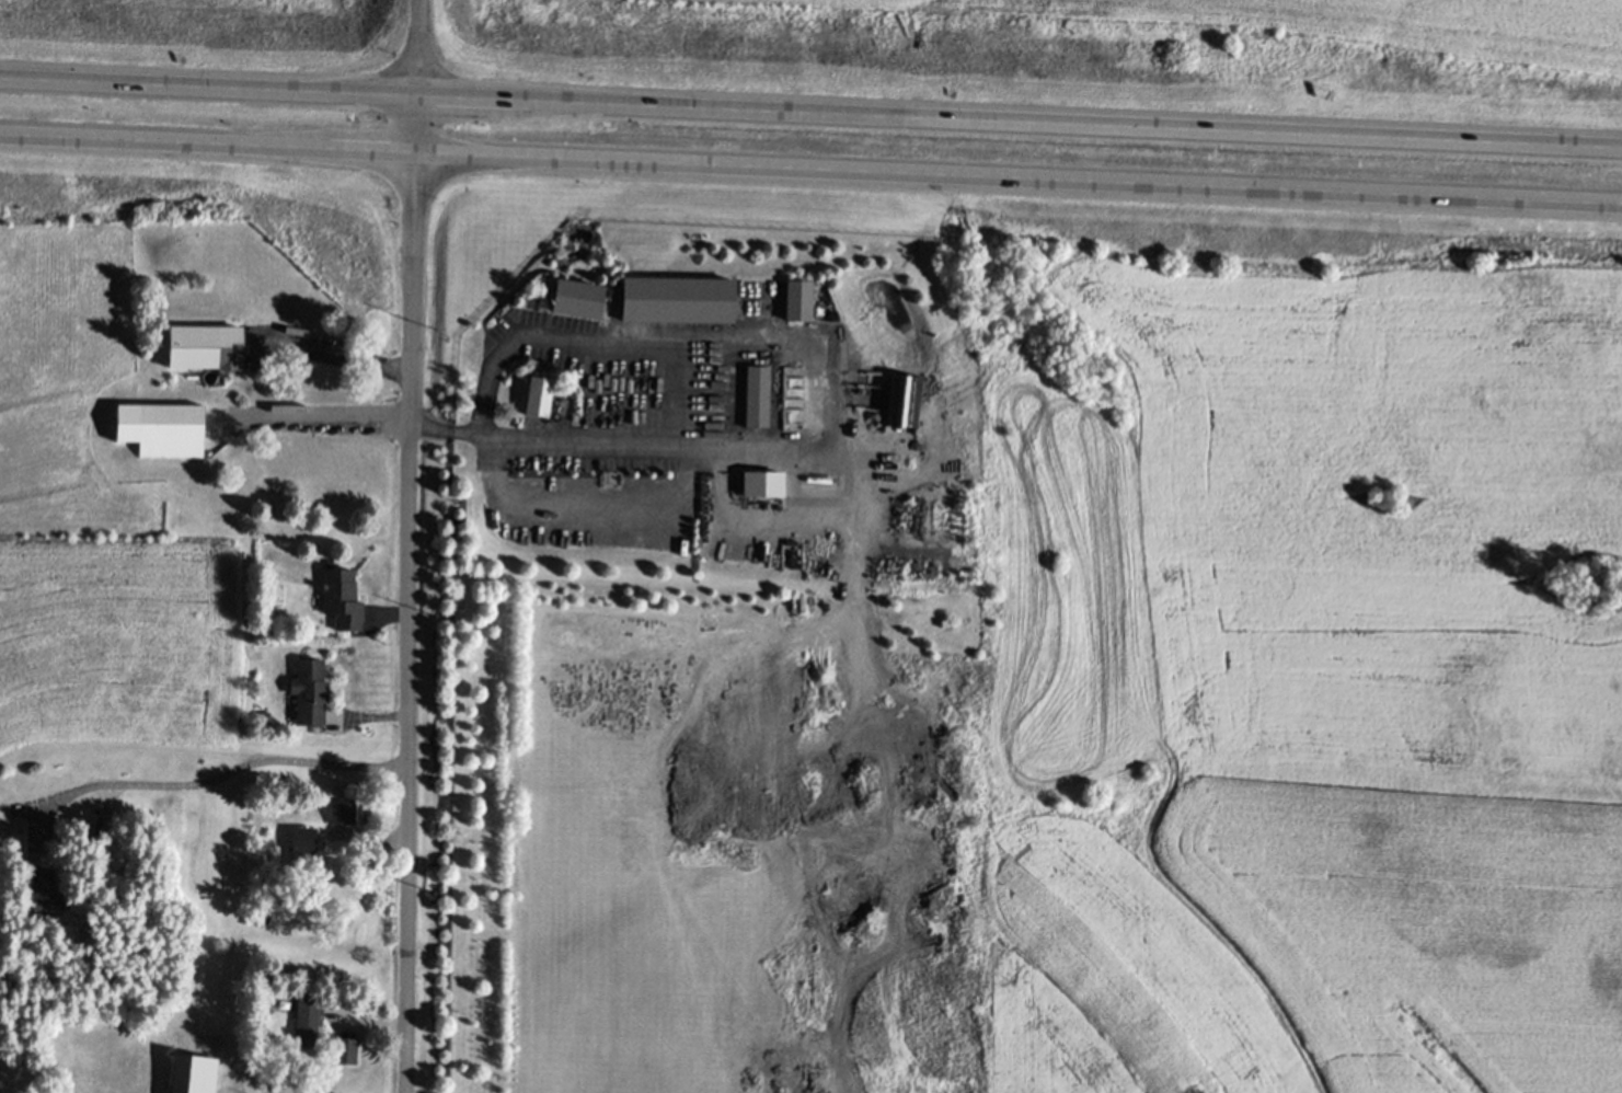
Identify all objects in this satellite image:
crop: (1370, 26)
road: (208, 89)
road: (1020, 126)
road: (208, 148)
road: (1019, 180)
building: (577, 299)
building: (677, 299)
building: (797, 300)
building: (206, 346)
road: (334, 356)
road: (832, 383)
building: (538, 394)
building: (758, 396)
building: (902, 403)
road: (312, 415)
building: (171, 429)
building: (763, 483)
building: (928, 525)
road: (411, 546)
building: (342, 598)
building: (945, 624)
building: (309, 689)
building: (262, 715)
road: (219, 774)
building: (341, 812)
building: (301, 848)
building: (108, 855)
building: (45, 894)
building: (233, 988)
building: (306, 1022)
building: (344, 1049)
building: (192, 1073)

